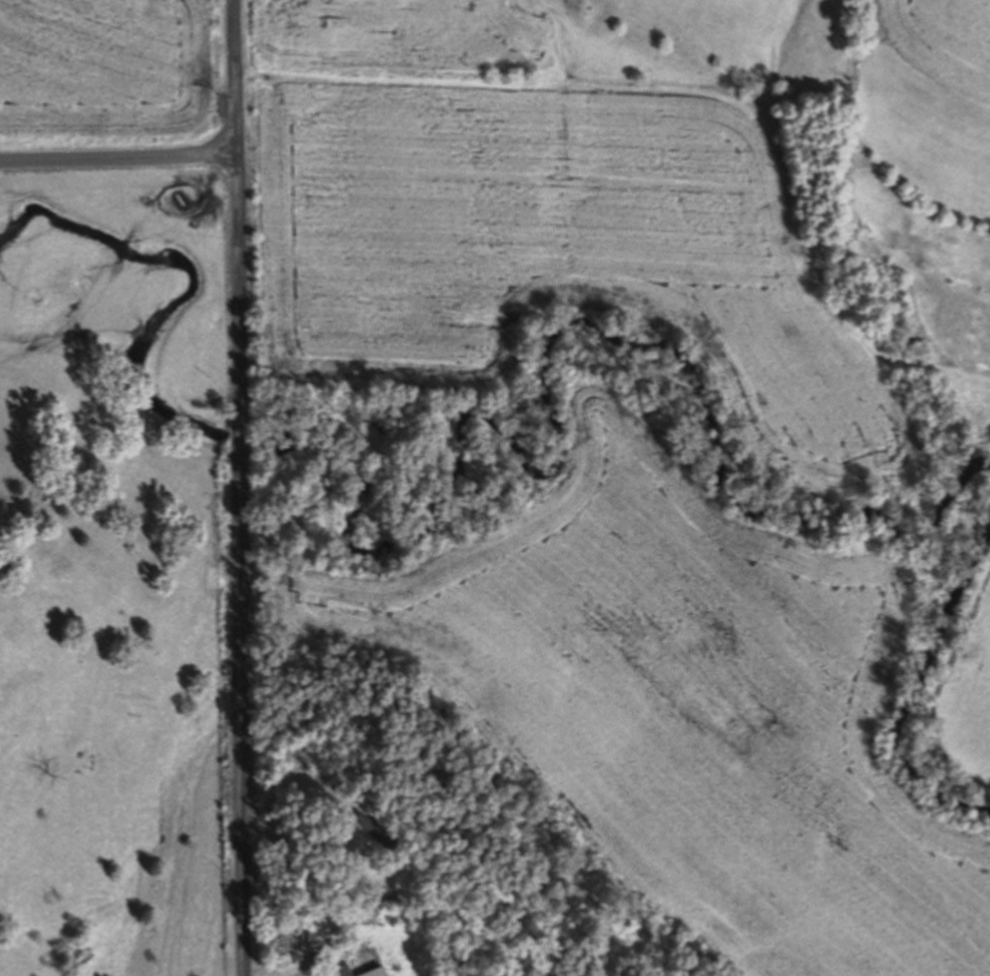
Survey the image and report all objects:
road: (235, 77)
road: (697, 97)
road: (118, 159)
road: (242, 565)
building: (376, 832)
road: (336, 927)
building: (341, 971)
building: (377, 972)

